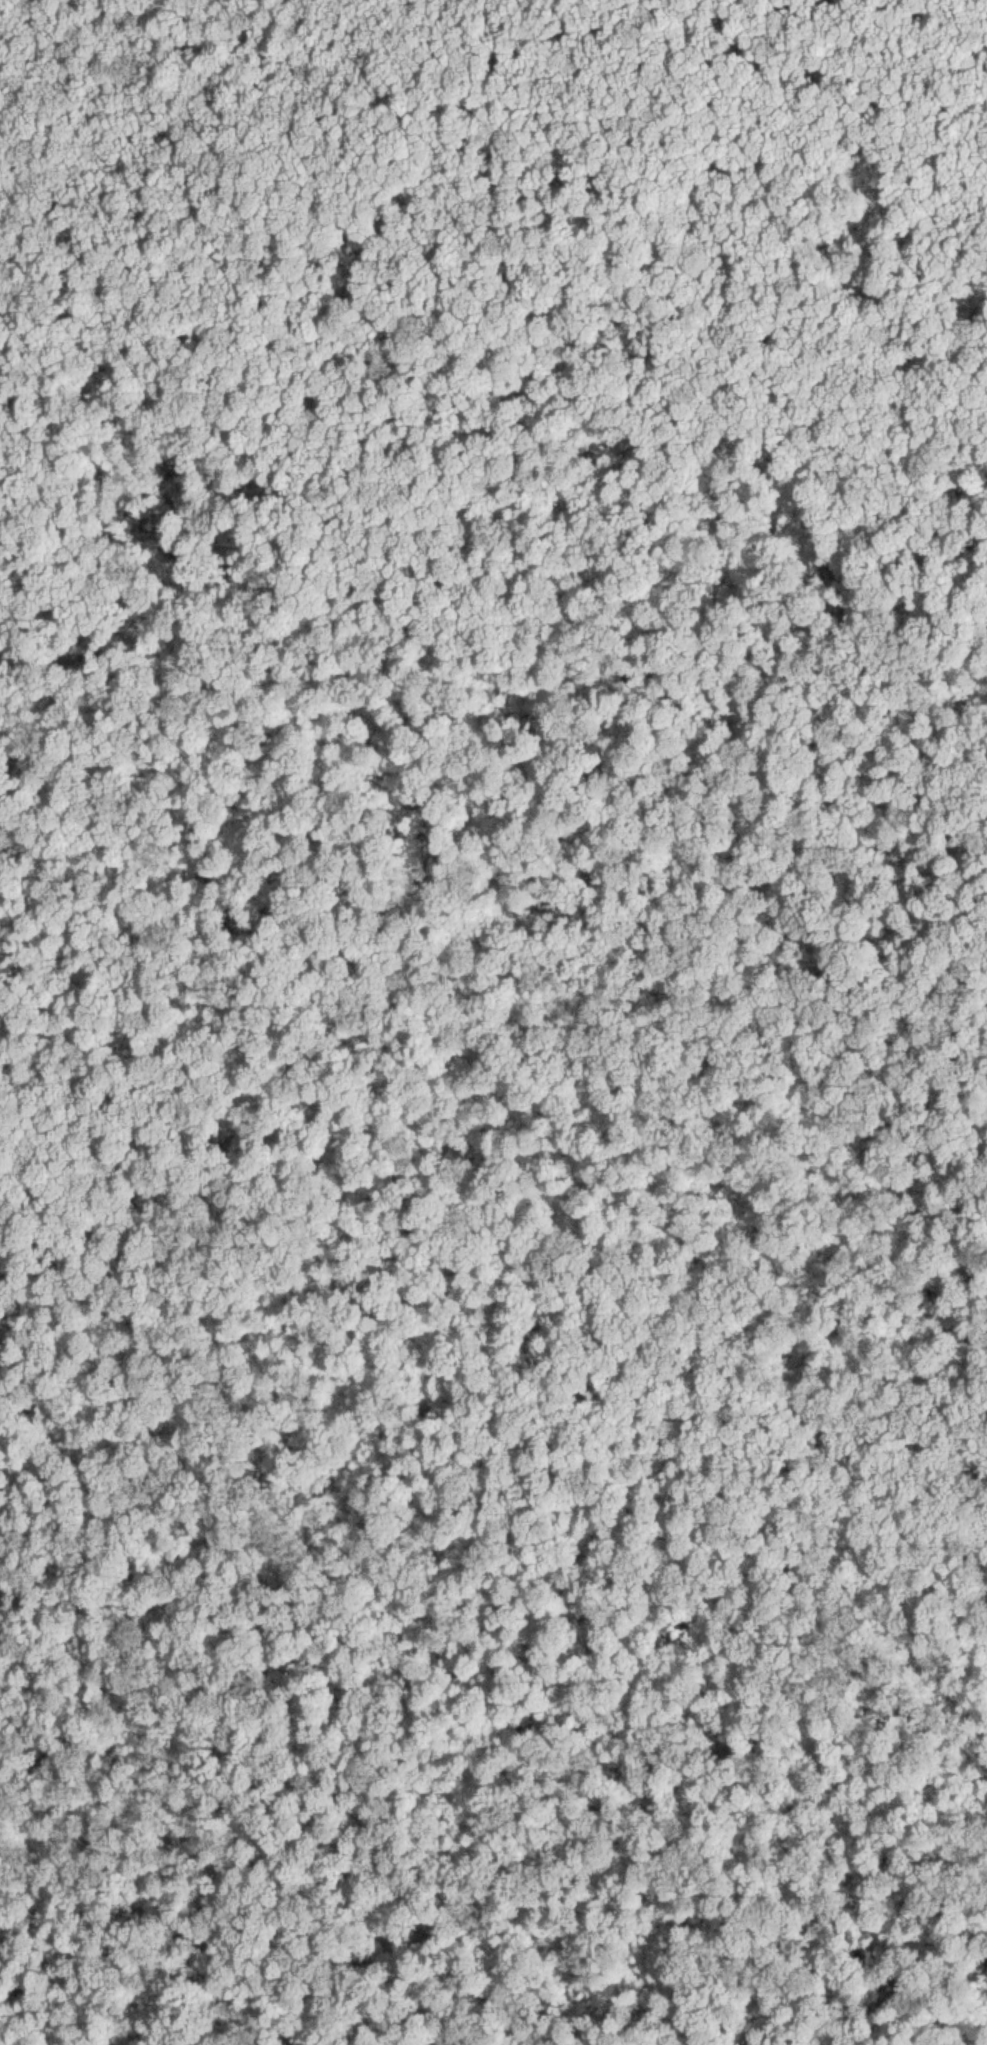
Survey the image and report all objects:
road: (765, 1311)
road: (591, 1408)

